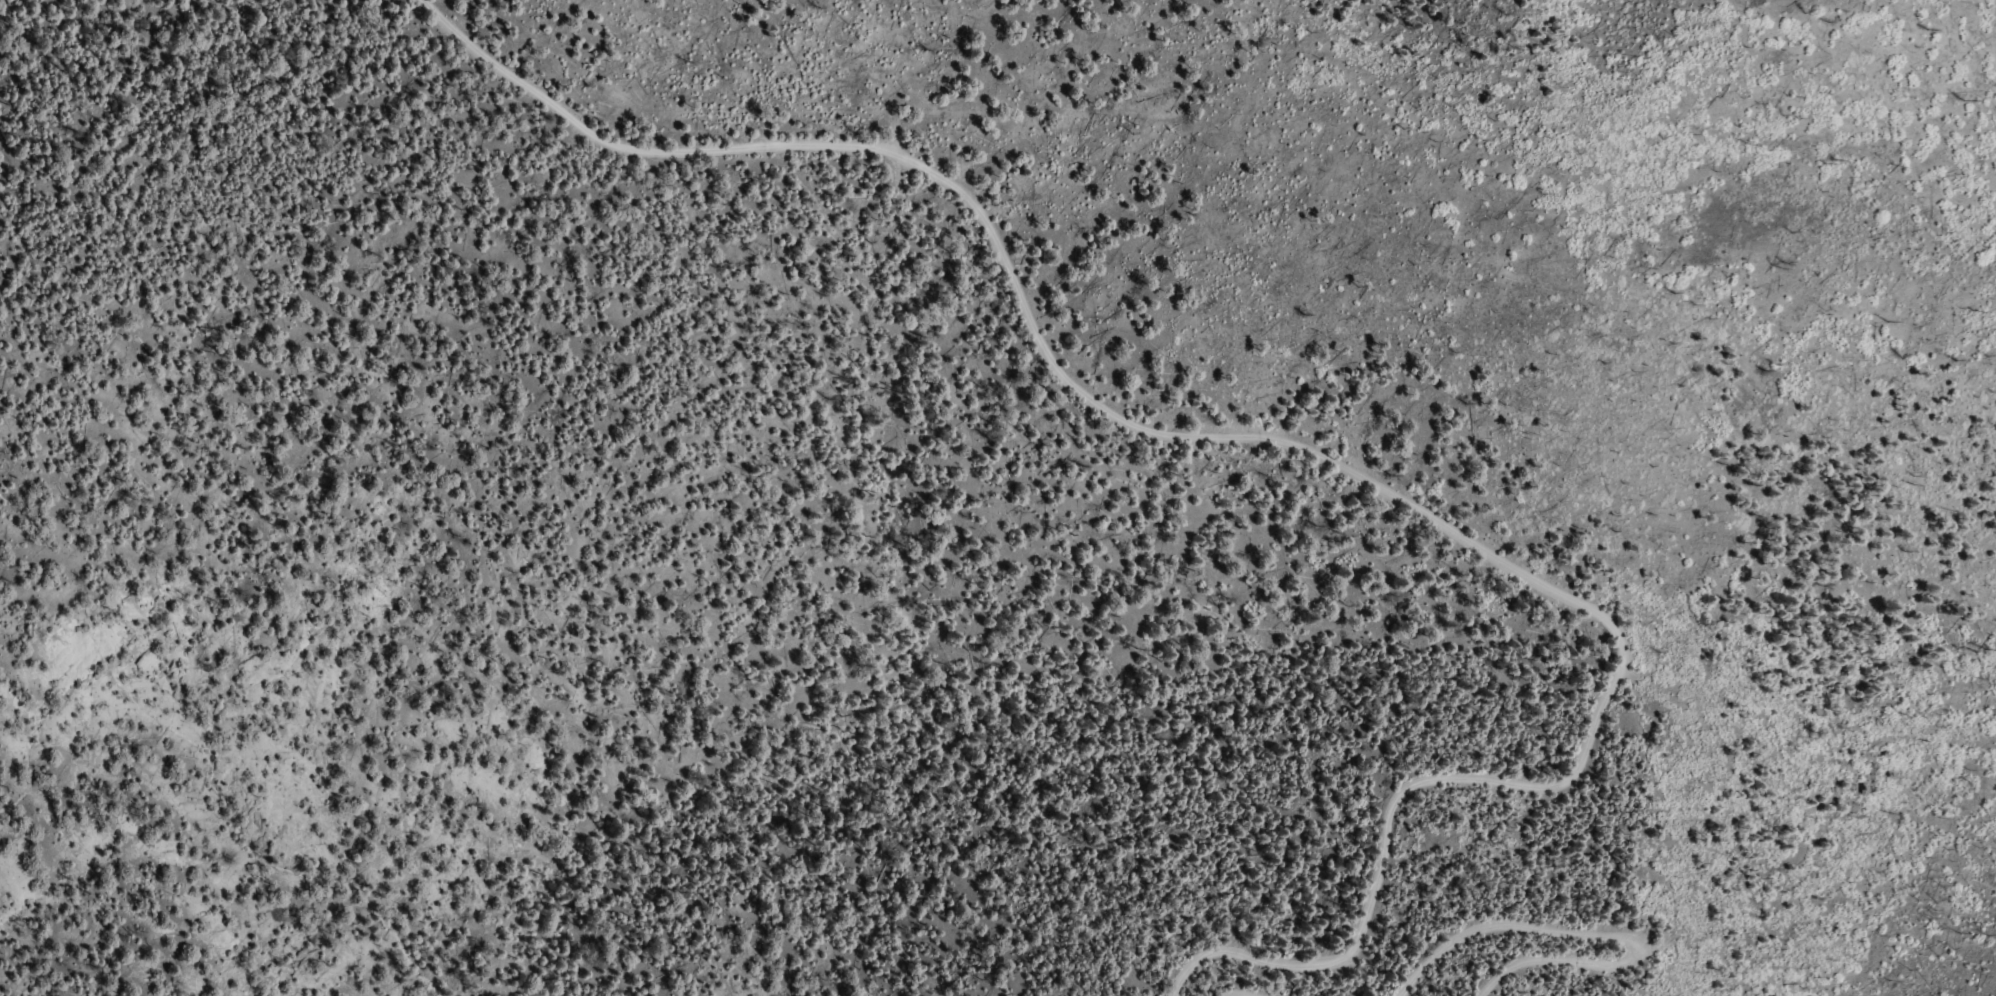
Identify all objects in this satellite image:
road: (1296, 447)
road: (1595, 937)

